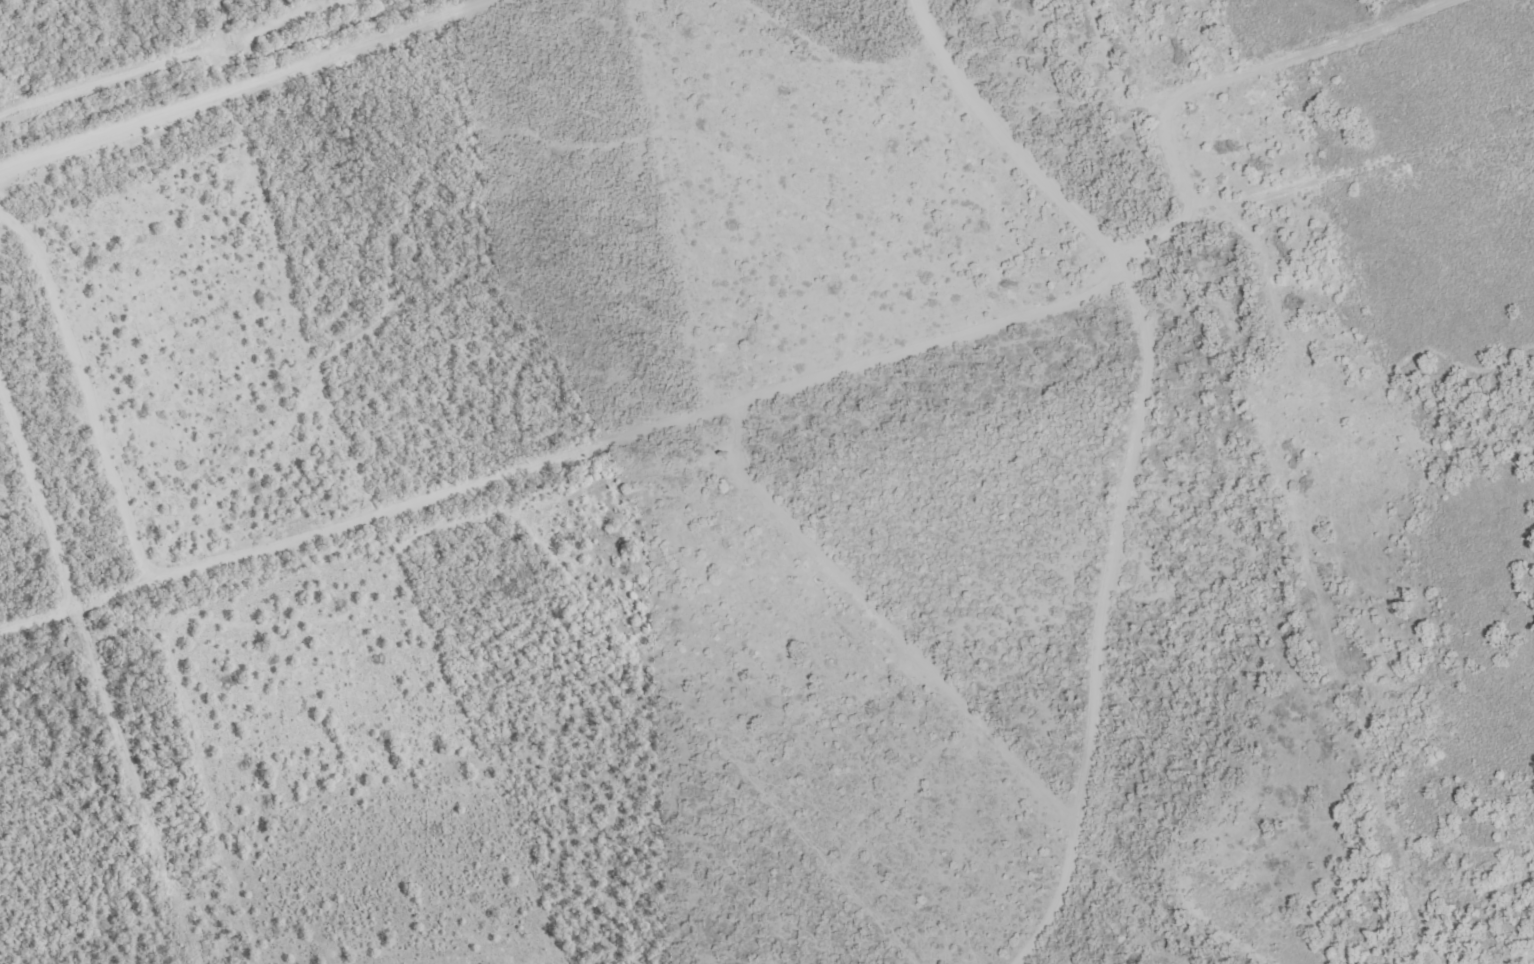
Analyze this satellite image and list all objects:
road: (246, 89)

